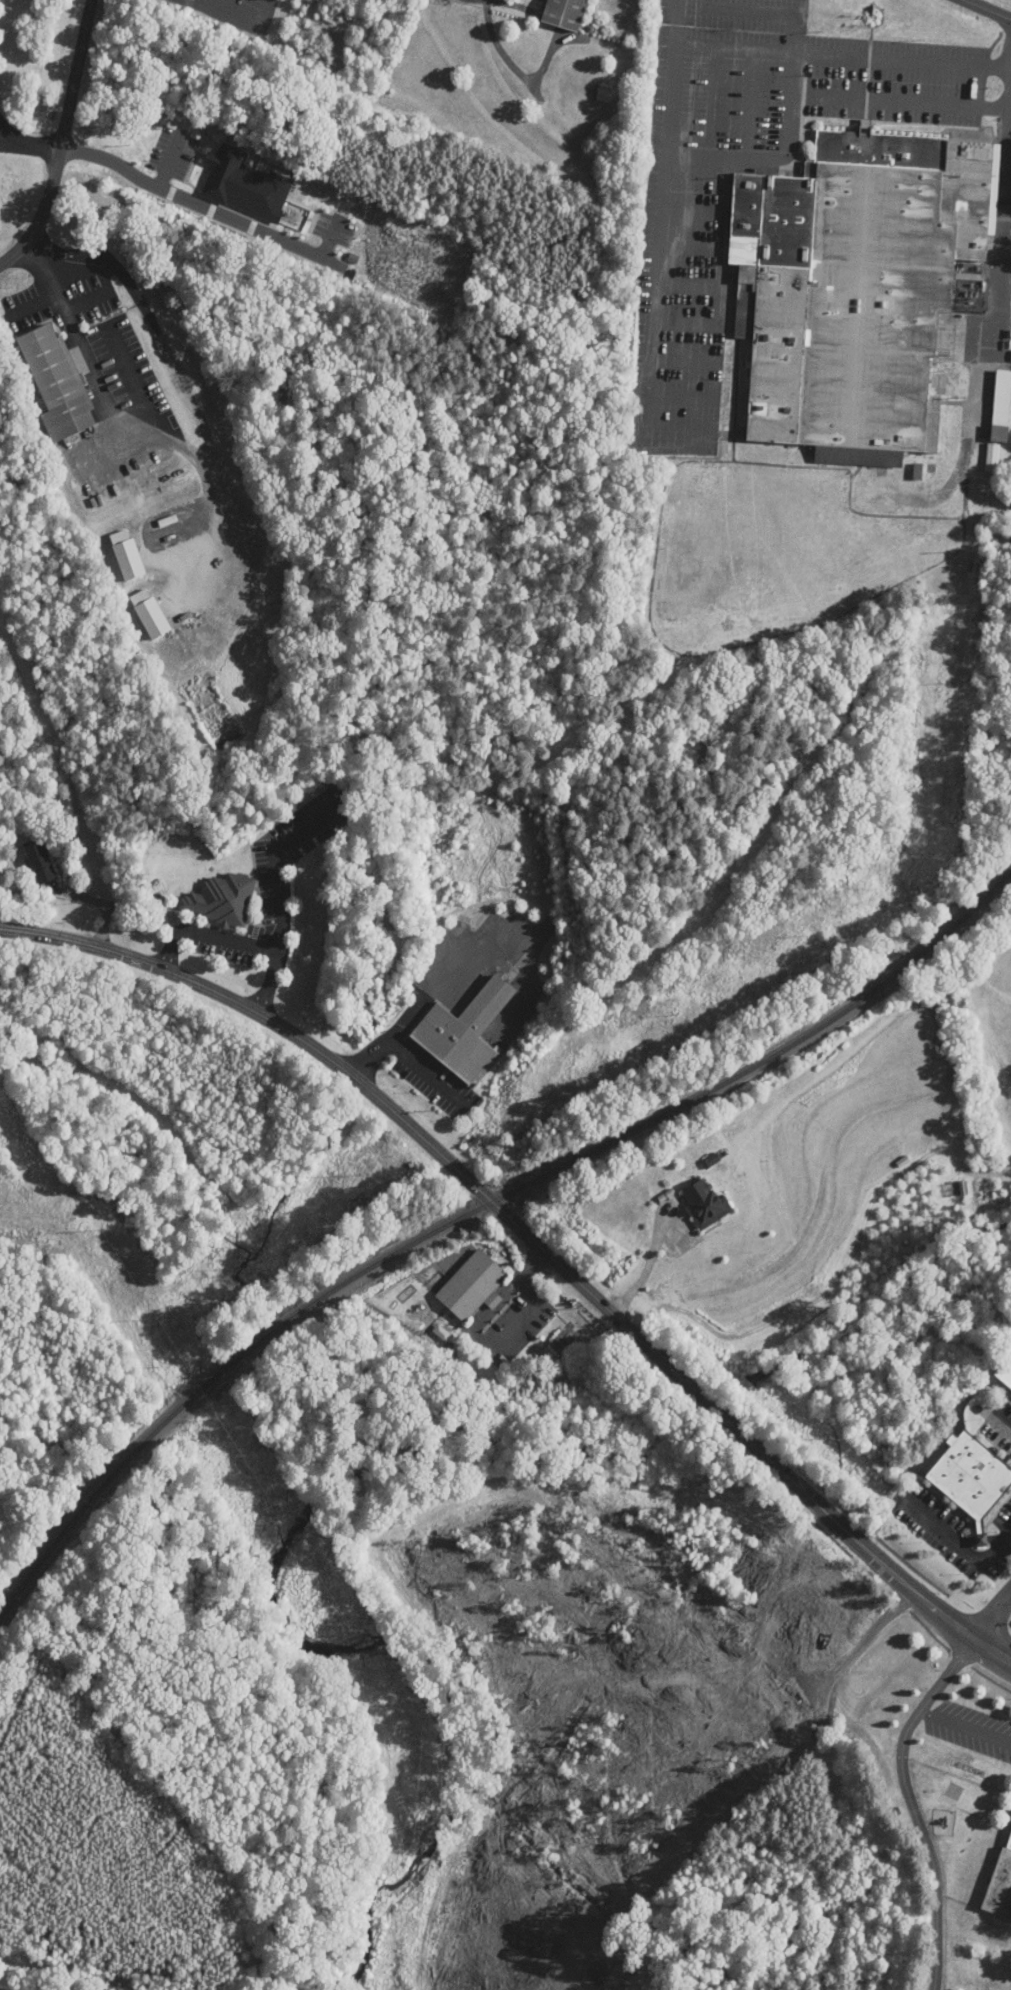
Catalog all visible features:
road: (989, 9)
building: (565, 14)
road: (234, 20)
road: (844, 54)
building: (604, 95)
road: (910, 102)
road: (746, 103)
road: (791, 135)
road: (64, 138)
road: (9, 141)
road: (29, 152)
road: (193, 201)
road: (666, 219)
building: (856, 288)
power substation: (971, 295)
road: (35, 305)
road: (984, 350)
road: (85, 357)
building: (57, 383)
road: (133, 385)
building: (1001, 407)
building: (918, 472)
building: (115, 485)
building: (39, 862)
road: (278, 865)
building: (221, 900)
road: (241, 942)
road: (446, 974)
building: (465, 1032)
road: (409, 1058)
building: (706, 1203)
railway: (473, 1211)
road: (534, 1240)
road: (647, 1266)
building: (472, 1285)
road: (995, 1436)
building: (971, 1478)
road: (950, 1560)
road: (992, 1616)
road: (966, 1726)
road: (913, 1804)
building: (1002, 1886)

